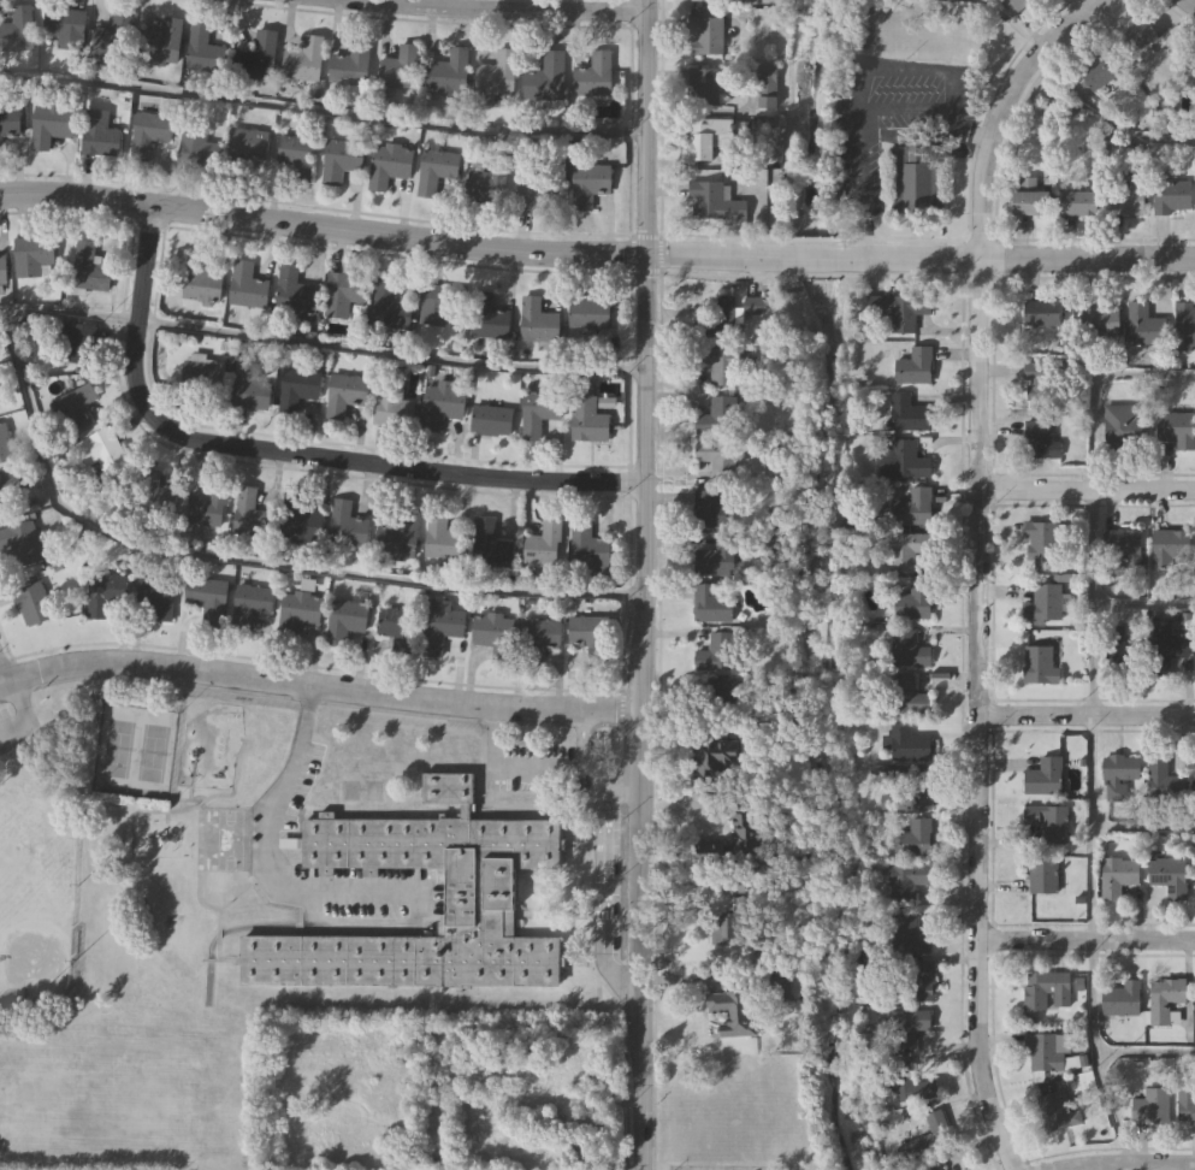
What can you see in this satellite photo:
building: (702, 0)
road: (1193, 0)
building: (1013, 5)
road: (487, 8)
building: (65, 26)
building: (17, 28)
building: (113, 35)
building: (705, 35)
building: (1136, 36)
building: (164, 41)
building: (202, 48)
building: (258, 55)
building: (303, 58)
building: (350, 63)
building: (398, 66)
road: (904, 70)
building: (1099, 70)
building: (448, 72)
building: (496, 73)
building: (593, 75)
building: (545, 77)
building: (1191, 78)
building: (702, 87)
road: (905, 111)
road: (321, 114)
road: (1105, 118)
building: (10, 120)
building: (49, 123)
road: (962, 130)
building: (149, 131)
building: (99, 132)
building: (705, 137)
building: (247, 142)
building: (197, 148)
building: (295, 155)
building: (339, 159)
building: (389, 164)
building: (436, 169)
building: (487, 177)
building: (917, 177)
building: (588, 183)
road: (858, 184)
building: (537, 191)
building: (1172, 196)
building: (1128, 197)
building: (1030, 201)
building: (712, 202)
building: (1077, 203)
road: (596, 253)
building: (31, 254)
building: (88, 267)
building: (2, 268)
building: (200, 278)
building: (245, 284)
building: (343, 292)
building: (295, 294)
building: (439, 302)
building: (388, 306)
building: (753, 307)
building: (587, 312)
building: (899, 312)
building: (486, 314)
building: (1046, 314)
building: (717, 318)
building: (537, 319)
building: (1100, 320)
building: (1185, 324)
building: (1144, 326)
building: (69, 343)
road: (320, 345)
building: (724, 364)
building: (915, 367)
building: (201, 371)
building: (1040, 382)
building: (248, 384)
building: (297, 385)
building: (344, 392)
building: (442, 401)
building: (75, 404)
building: (391, 404)
building: (537, 410)
building: (586, 412)
building: (909, 415)
building: (491, 418)
building: (717, 418)
building: (1120, 425)
building: (1177, 429)
building: (1040, 439)
building: (5, 443)
building: (101, 448)
road: (286, 451)
building: (720, 459)
building: (901, 460)
building: (8, 487)
road: (1087, 490)
building: (143, 495)
building: (206, 507)
building: (912, 507)
building: (709, 510)
building: (250, 513)
building: (301, 521)
building: (345, 522)
building: (400, 530)
building: (439, 536)
building: (1042, 539)
building: (20, 542)
building: (490, 543)
building: (542, 543)
building: (587, 545)
building: (1171, 546)
building: (1122, 548)
road: (1092, 550)
building: (906, 551)
building: (716, 559)
road: (244, 561)
road: (978, 565)
road: (641, 585)
building: (102, 591)
building: (207, 597)
building: (253, 597)
building: (158, 599)
building: (915, 599)
building: (31, 602)
building: (711, 604)
building: (1043, 604)
road: (1143, 604)
building: (300, 607)
building: (344, 617)
building: (391, 621)
building: (439, 627)
building: (492, 628)
building: (587, 632)
building: (538, 636)
building: (1165, 646)
building: (909, 650)
building: (715, 654)
building: (1120, 655)
building: (1039, 667)
road: (2, 674)
road: (318, 686)
building: (907, 697)
road: (1085, 710)
parking lot: (18, 723)
road: (491, 738)
road: (584, 740)
building: (907, 744)
park: (118, 749)
park: (154, 752)
building: (712, 764)
road: (534, 770)
building: (1043, 776)
building: (1118, 776)
building: (1194, 776)
building: (1164, 780)
building: (1047, 822)
road: (1143, 827)
building: (747, 834)
building: (913, 838)
road: (268, 855)
building: (1120, 873)
building: (1040, 874)
building: (1169, 876)
building: (906, 881)
road: (604, 890)
building: (478, 893)
building: (730, 916)
building: (907, 935)
road: (1085, 938)
park: (99, 958)
building: (911, 983)
building: (779, 986)
building: (1043, 987)
building: (1122, 999)
building: (1165, 1000)
road: (1092, 1001)
building: (732, 1009)
building: (907, 1026)
building: (1043, 1052)
road: (1144, 1053)
building: (434, 1062)
building: (569, 1075)
building: (912, 1085)
building: (517, 1097)
building: (1185, 1099)
building: (1155, 1106)
building: (1058, 1110)
building: (930, 1134)
road: (1138, 1165)
building: (936, 1168)

